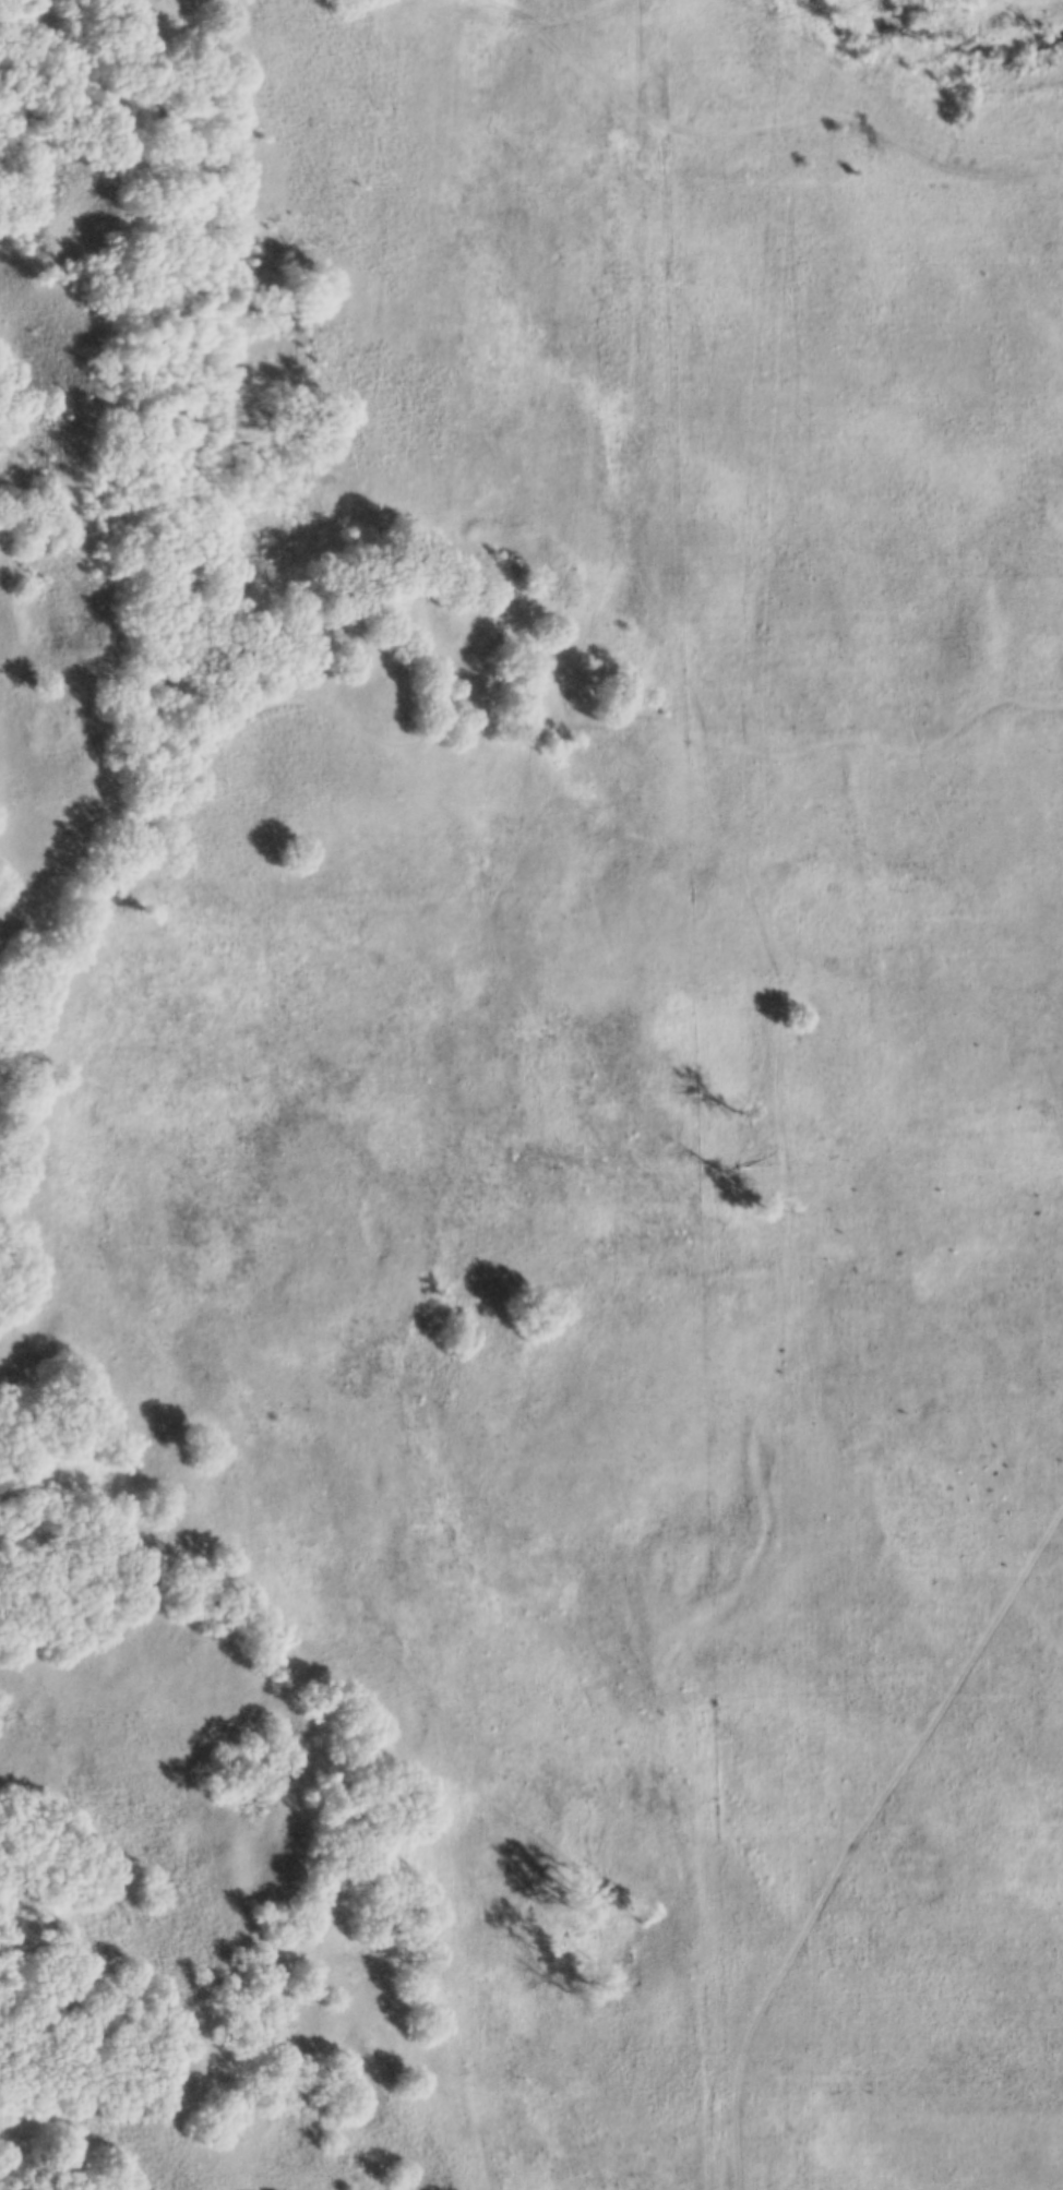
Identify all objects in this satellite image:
road: (524, 659)

